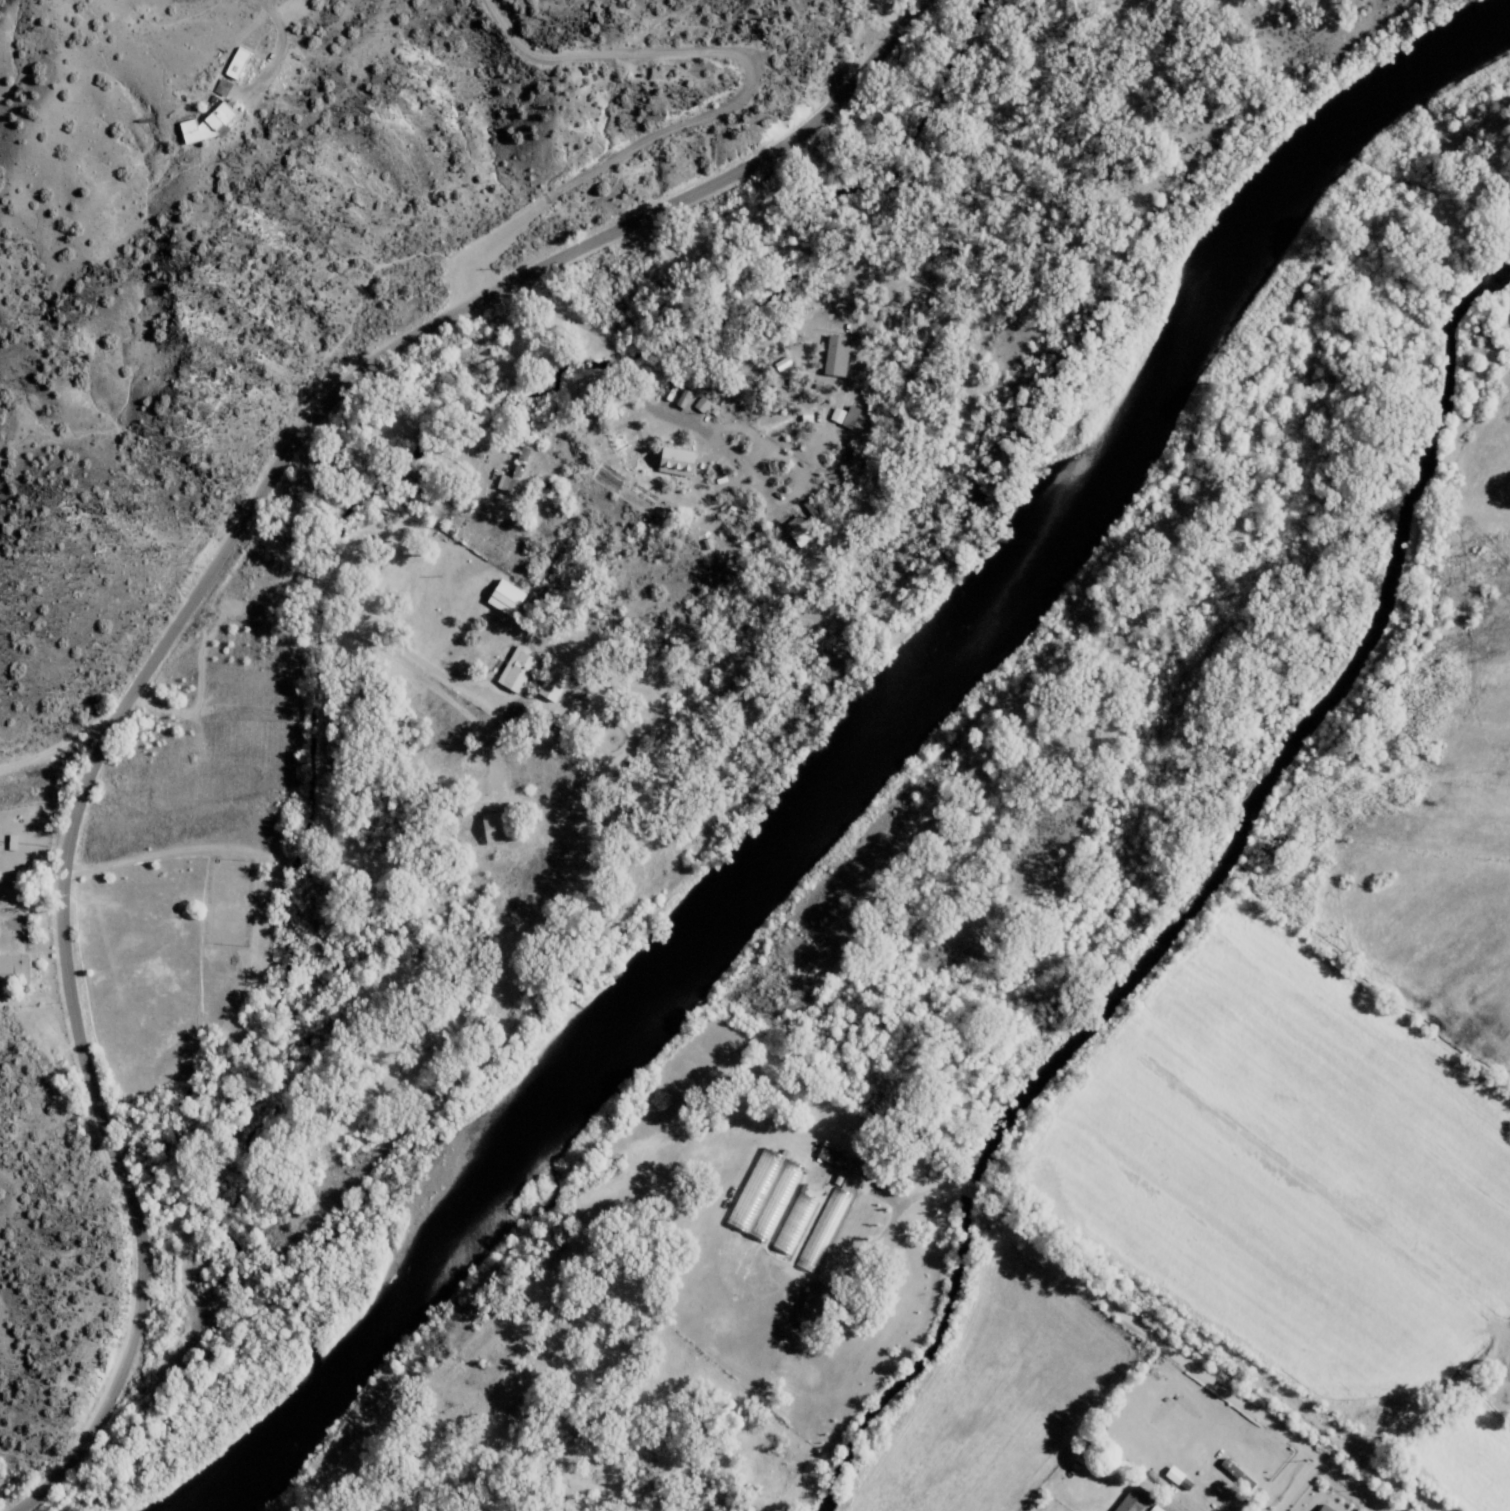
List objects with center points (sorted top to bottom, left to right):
road: (893, 14)
building: (235, 62)
building: (219, 87)
building: (202, 125)
road: (575, 126)
road: (750, 264)
building: (832, 355)
road: (617, 367)
building: (699, 403)
building: (841, 415)
road: (330, 419)
road: (527, 424)
building: (672, 460)
building: (511, 472)
building: (804, 521)
road: (440, 581)
road: (243, 585)
building: (501, 597)
road: (187, 609)
building: (512, 669)
building: (549, 681)
river: (866, 768)
building: (487, 828)
building: (12, 966)
road: (1373, 1160)
building: (761, 1194)
building: (826, 1209)
building: (791, 1222)
road: (1485, 1340)
road: (1461, 1436)
building: (1233, 1472)
building: (1128, 1500)
building: (1319, 1508)

